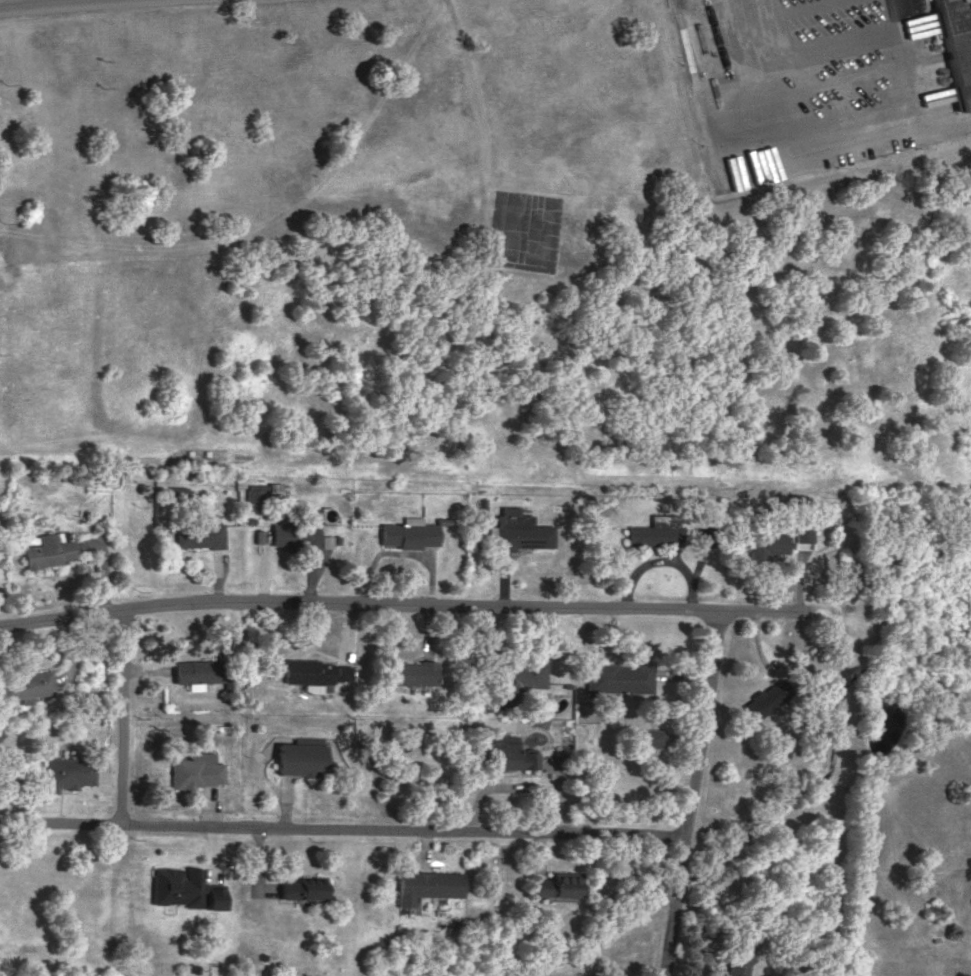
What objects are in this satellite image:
road: (58, 2)
building: (951, 48)
road: (915, 88)
park: (523, 231)
building: (179, 490)
building: (257, 498)
building: (518, 530)
building: (804, 530)
building: (297, 531)
building: (655, 531)
building: (408, 532)
building: (199, 534)
building: (706, 535)
building: (327, 540)
building: (767, 546)
building: (48, 549)
road: (411, 604)
building: (315, 671)
building: (410, 671)
building: (197, 672)
building: (618, 677)
building: (518, 679)
building: (25, 685)
building: (767, 698)
road: (122, 716)
building: (652, 737)
building: (505, 754)
building: (302, 759)
building: (197, 769)
building: (67, 772)
road: (693, 792)
road: (343, 829)
building: (427, 884)
building: (555, 885)
building: (184, 887)
building: (303, 888)
building: (739, 961)

